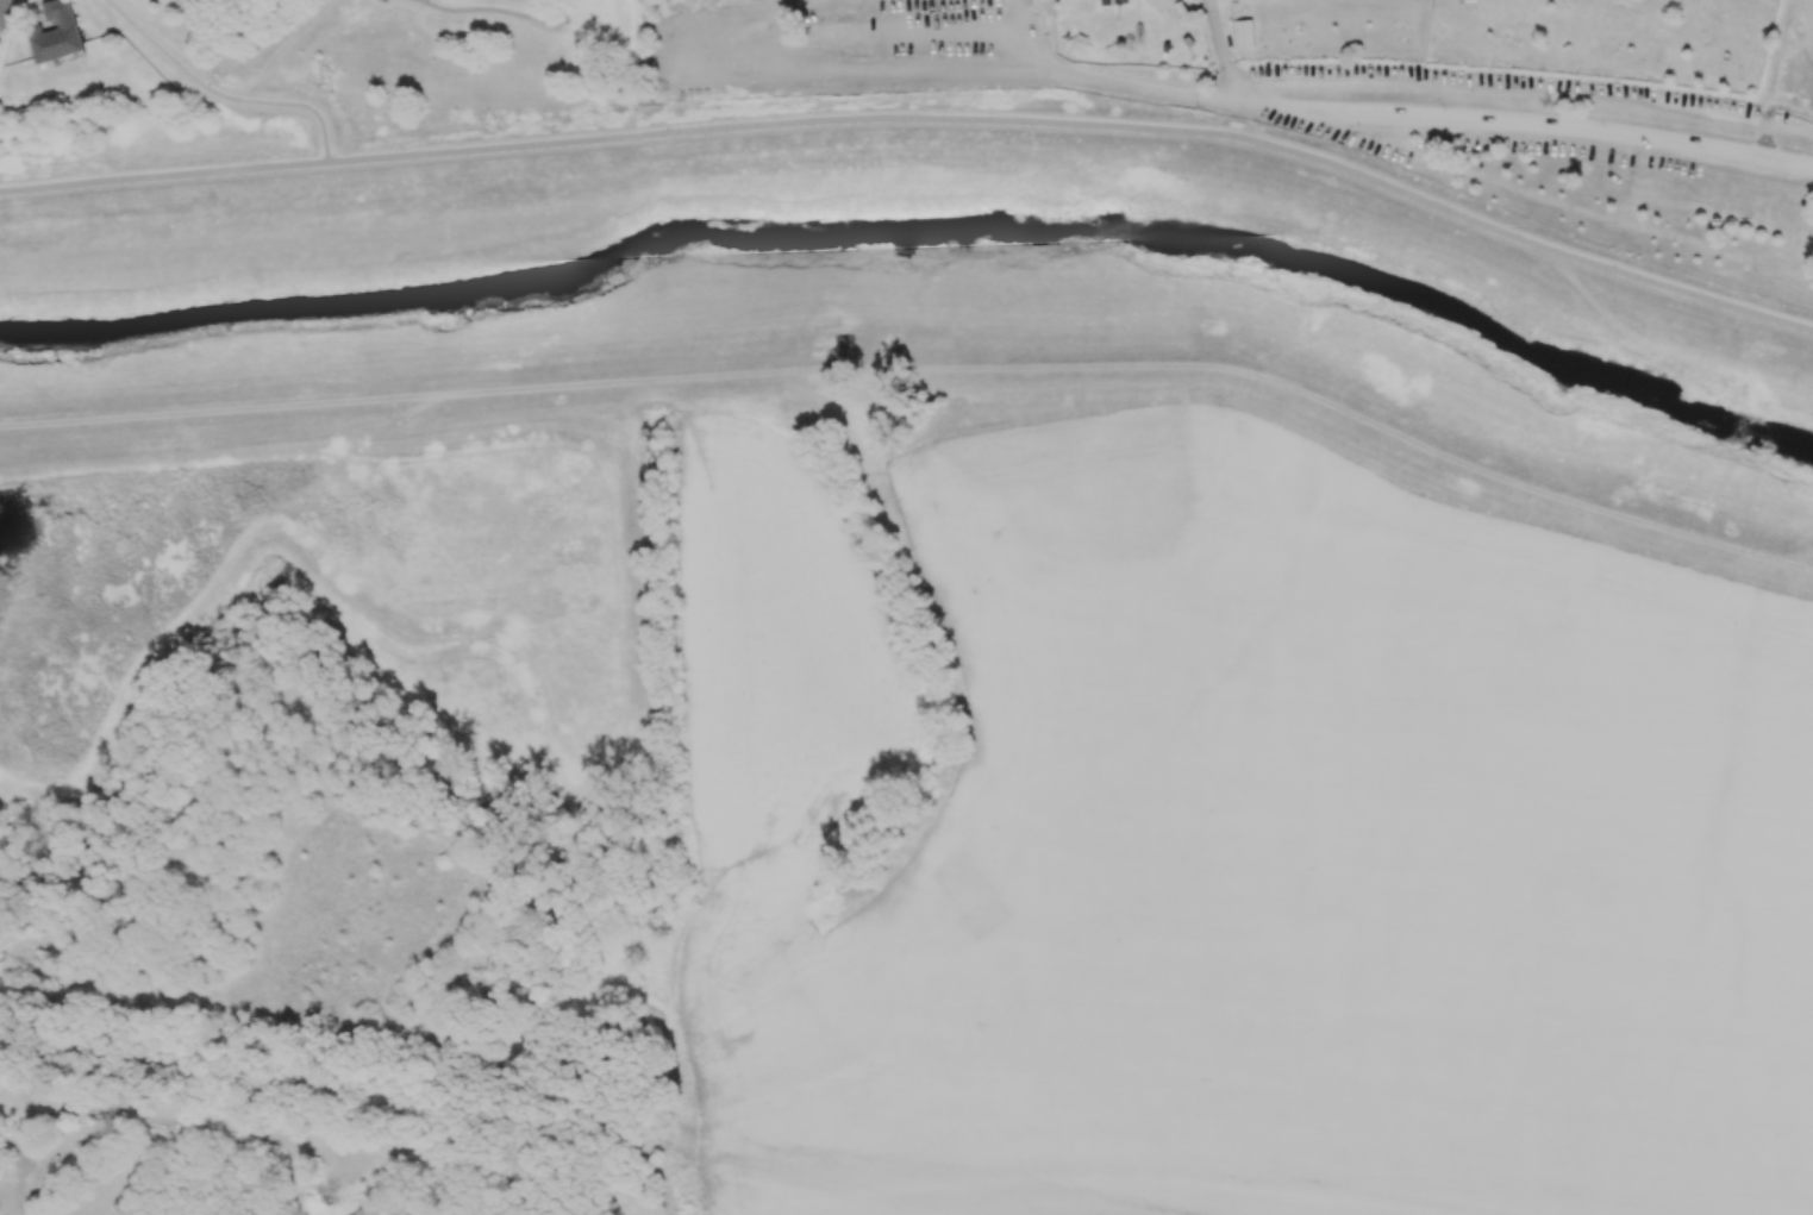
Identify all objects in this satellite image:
road: (420, 0)
road: (423, 0)
building: (1113, 2)
road: (480, 8)
building: (4, 12)
road: (564, 12)
road: (1808, 13)
road: (937, 19)
road: (1027, 31)
building: (56, 32)
building: (1244, 32)
road: (799, 37)
building: (1190, 42)
road: (983, 48)
parking lot: (836, 49)
road: (936, 51)
park: (426, 52)
road: (1224, 55)
road: (982, 63)
road: (825, 71)
power tower: (333, 83)
theme park: (1364, 93)
road: (220, 95)
road: (1419, 117)
road: (1084, 124)
parking lot: (1578, 142)
road: (163, 177)
river: (920, 234)
road: (923, 368)
road: (323, 1136)

